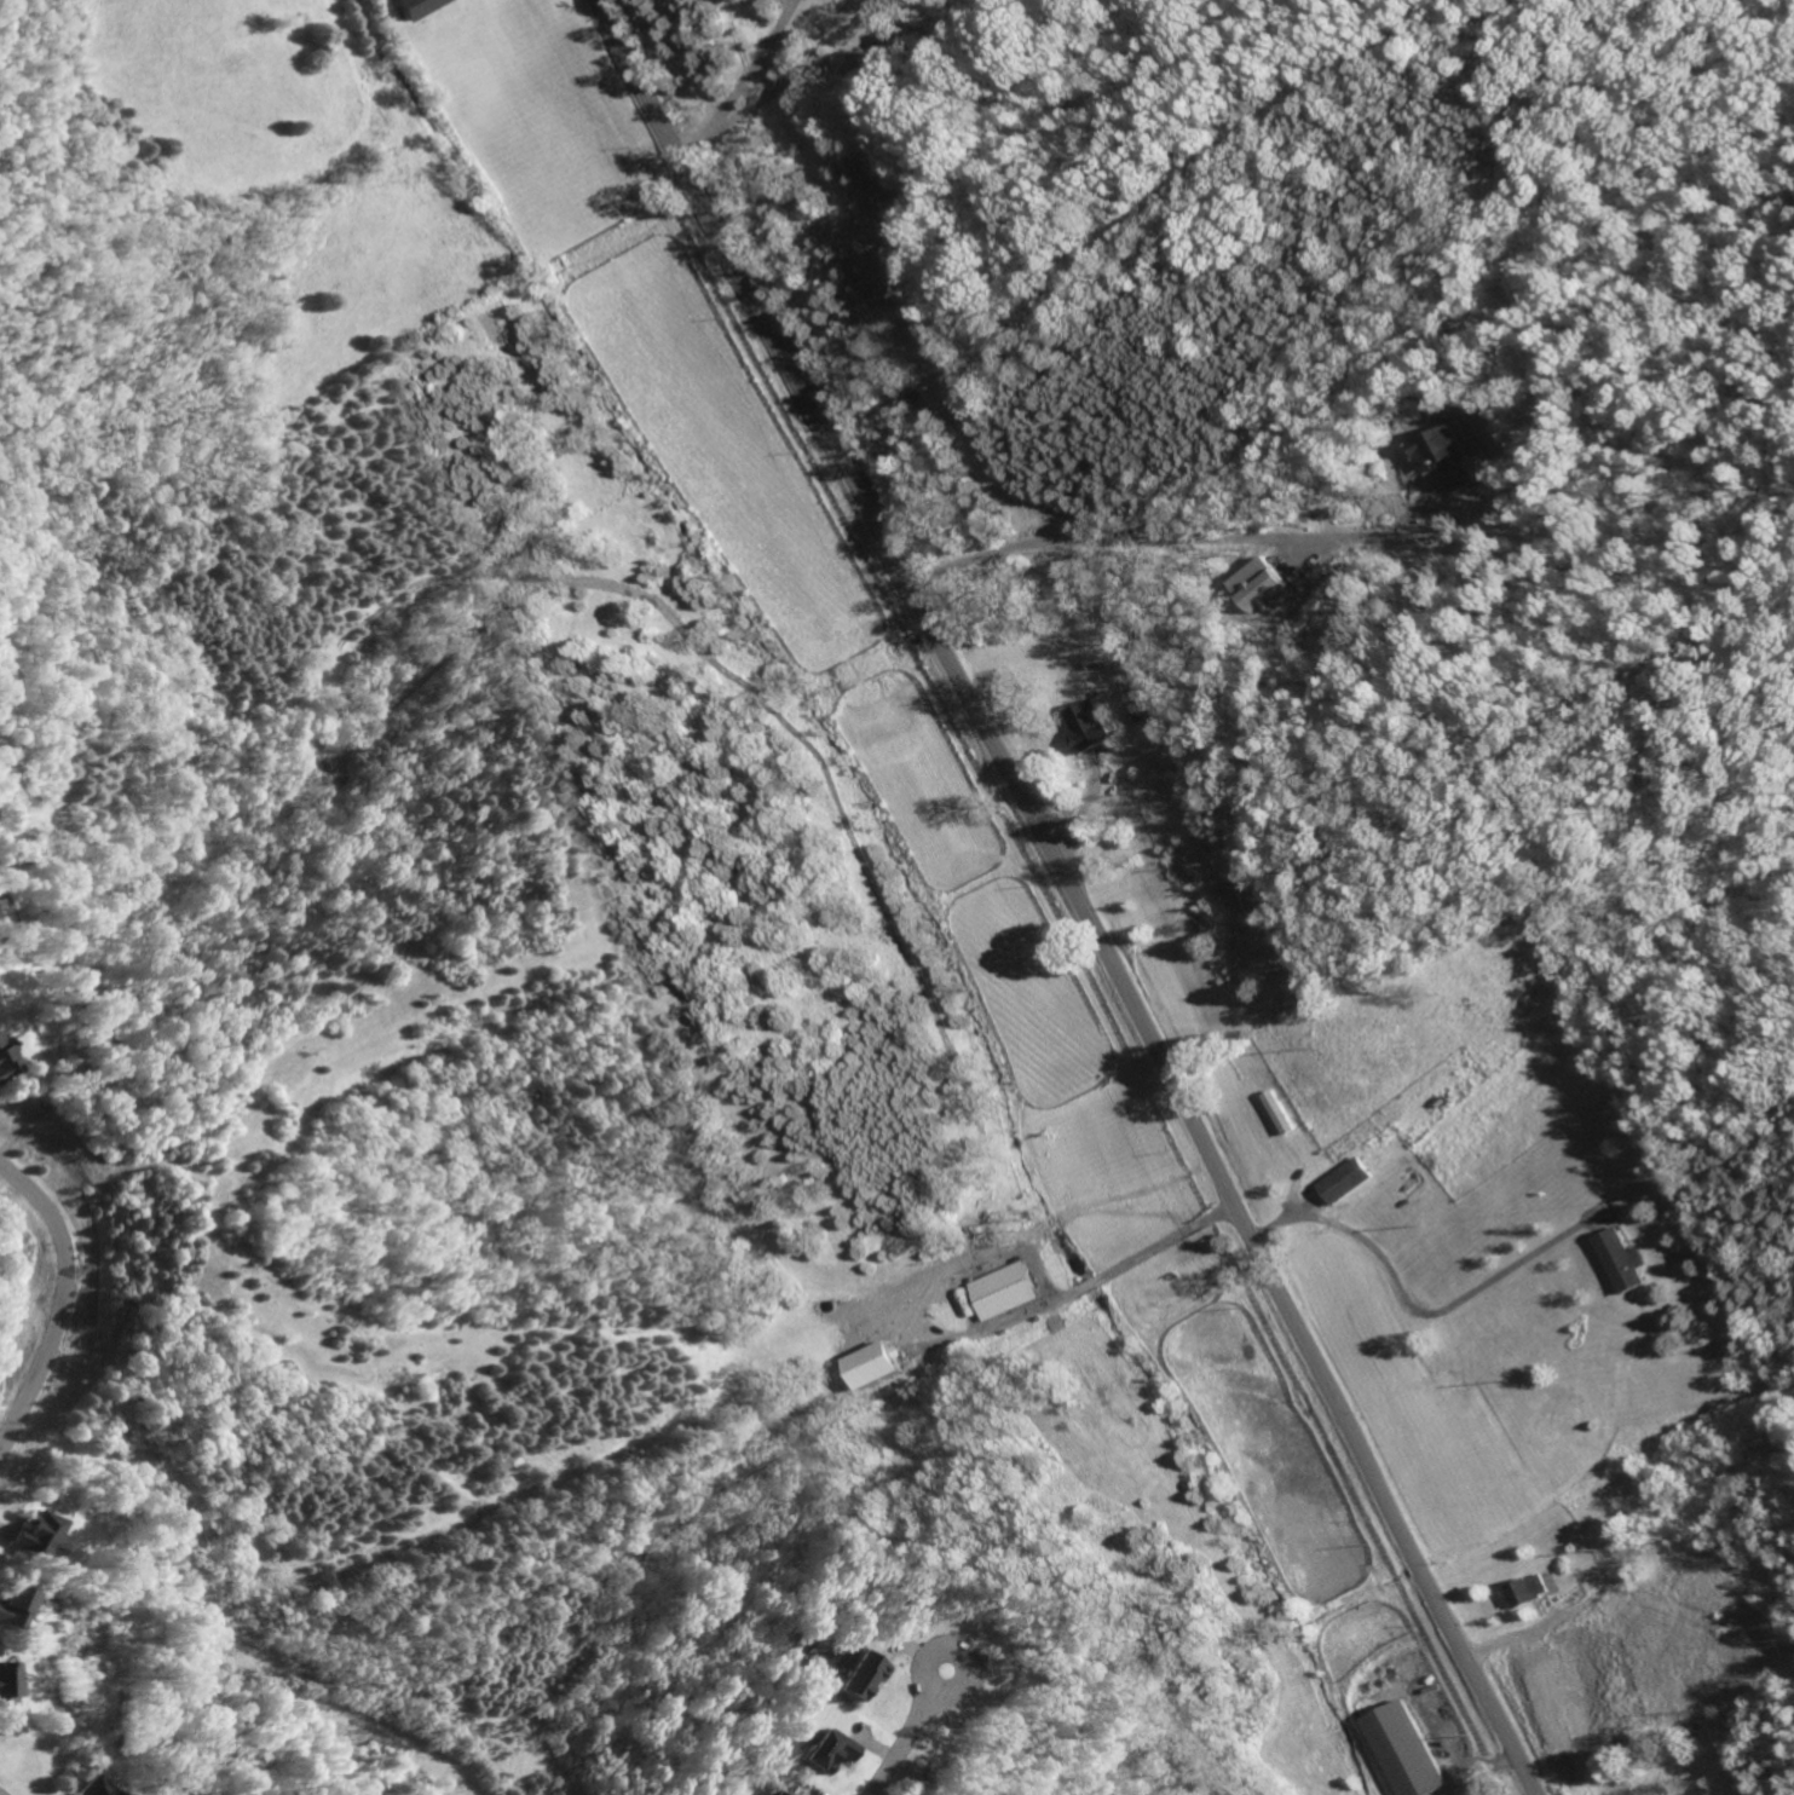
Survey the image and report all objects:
building: (414, 7)
road: (743, 82)
road: (1100, 539)
building: (1257, 584)
building: (1085, 726)
road: (1073, 891)
building: (2, 1064)
building: (1344, 1181)
road: (1166, 1241)
building: (1623, 1262)
road: (1088, 1283)
building: (1005, 1291)
road: (1057, 1297)
road: (63, 1301)
road: (1408, 1311)
building: (28, 1536)
building: (1525, 1591)
building: (7, 1606)
building: (854, 1675)
building: (1, 1689)
road: (940, 1696)
road: (898, 1744)
building: (823, 1750)
building: (1404, 1750)
building: (90, 1788)
building: (777, 1794)
building: (1453, 1794)

